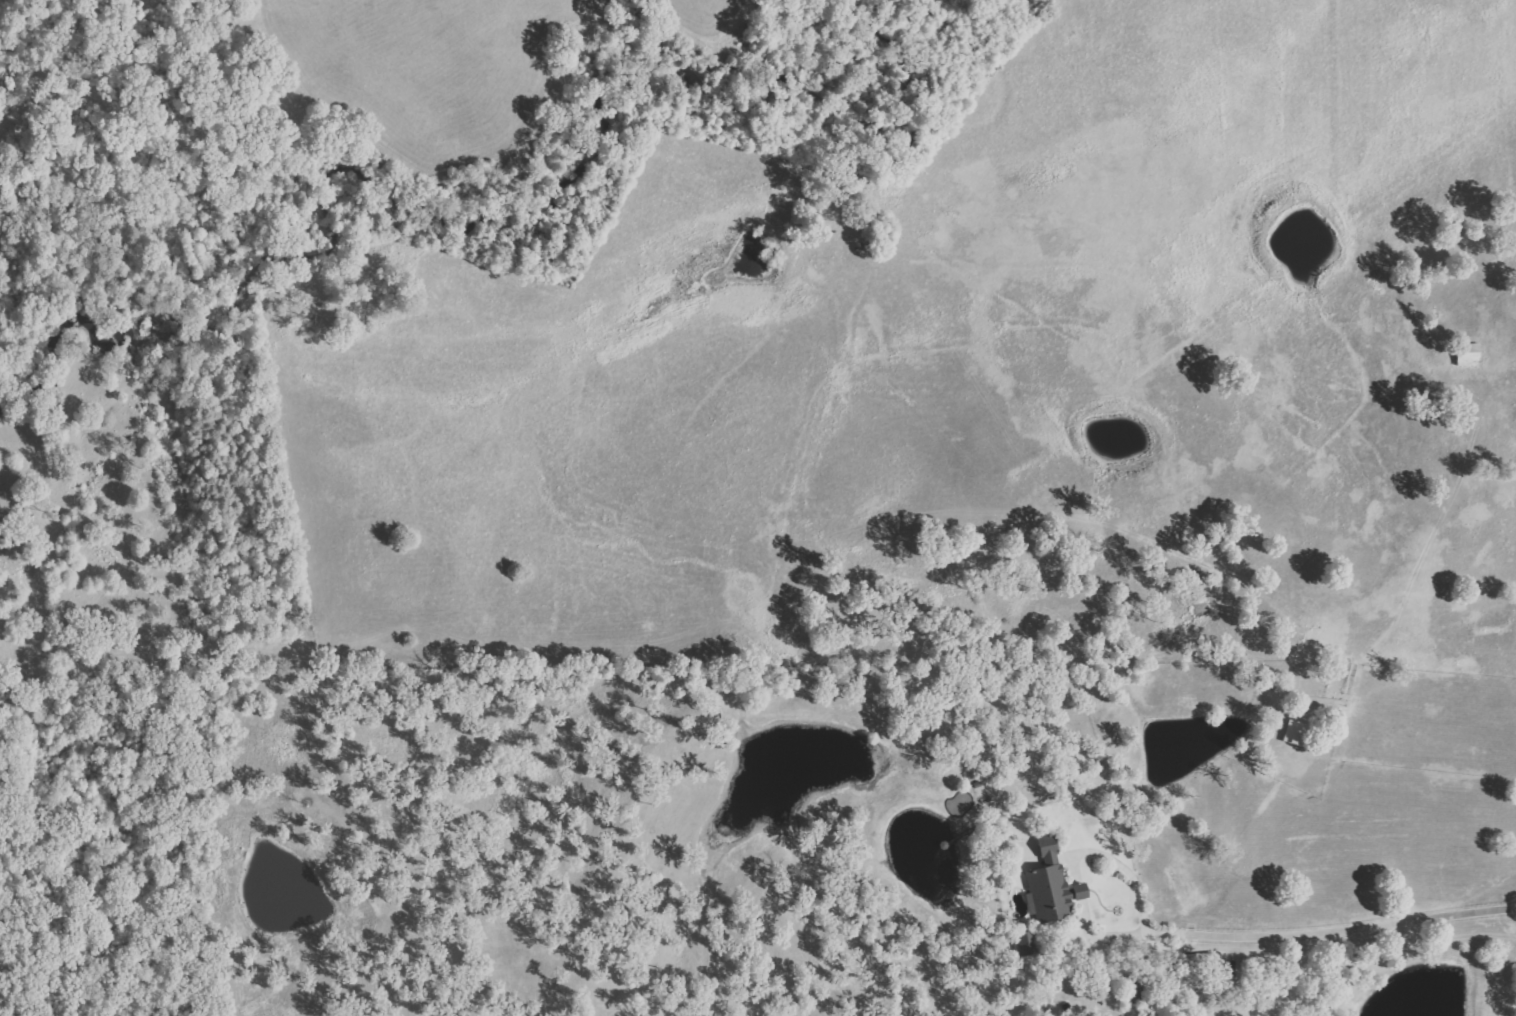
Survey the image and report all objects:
building: (1471, 356)
building: (1298, 733)
road: (1119, 858)
road: (1076, 887)
building: (1053, 888)
road: (1286, 929)
building: (1028, 943)

